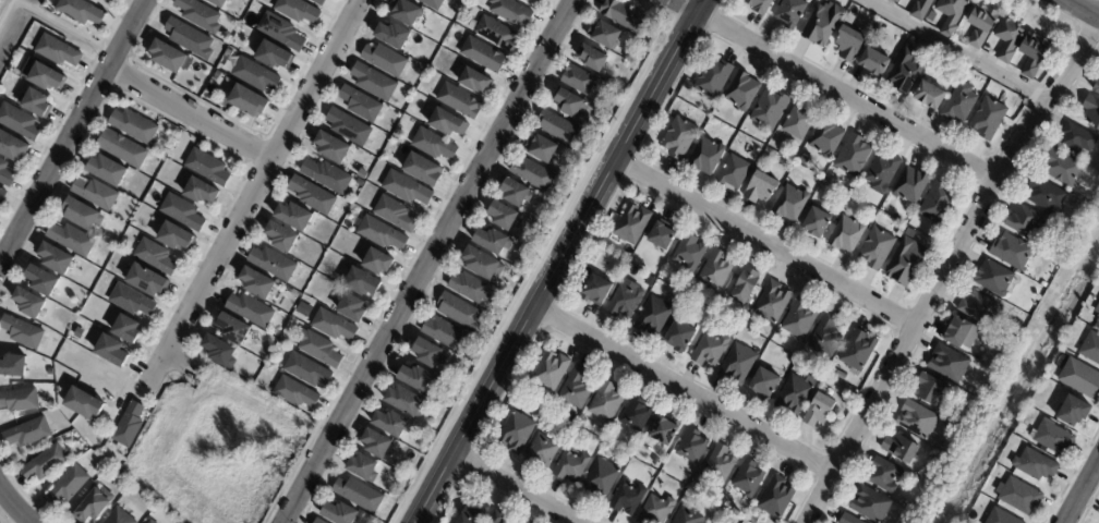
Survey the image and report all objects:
building: (111, 0)
building: (538, 0)
building: (823, 0)
building: (319, 1)
building: (895, 1)
building: (217, 2)
building: (434, 3)
road: (685, 7)
building: (759, 7)
building: (298, 10)
building: (920, 10)
building: (81, 11)
building: (408, 11)
building: (510, 11)
road: (1078, 11)
building: (790, 13)
building: (198, 14)
building: (621, 15)
building: (951, 15)
building: (849, 19)
building: (823, 24)
building: (981, 25)
road: (63, 28)
building: (280, 31)
building: (870, 31)
building: (495, 33)
building: (394, 34)
building: (604, 36)
building: (189, 38)
building: (1007, 39)
building: (848, 45)
building: (59, 49)
building: (273, 52)
road: (954, 52)
building: (482, 53)
building: (1032, 53)
building: (168, 56)
building: (383, 58)
building: (592, 58)
building: (873, 64)
building: (906, 72)
building: (43, 74)
building: (253, 74)
building: (219, 77)
building: (577, 78)
building: (713, 78)
building: (474, 80)
building: (371, 82)
building: (1096, 87)
building: (741, 92)
building: (928, 96)
road: (846, 97)
building: (459, 99)
building: (247, 101)
building: (33, 102)
building: (360, 104)
building: (959, 104)
building: (569, 106)
building: (769, 109)
building: (1091, 112)
road: (191, 115)
building: (988, 119)
building: (20, 120)
building: (445, 120)
building: (798, 123)
building: (138, 126)
building: (347, 126)
building: (557, 129)
road: (72, 131)
building: (678, 138)
building: (825, 139)
building: (1076, 139)
building: (433, 143)
building: (12, 145)
building: (331, 146)
building: (126, 149)
building: (541, 150)
building: (706, 157)
building: (802, 157)
building: (853, 158)
building: (768, 160)
building: (208, 167)
building: (1060, 168)
building: (423, 169)
building: (113, 171)
building: (733, 172)
building: (7, 173)
building: (882, 173)
building: (532, 174)
building: (326, 175)
road: (259, 186)
building: (910, 186)
building: (404, 187)
building: (761, 188)
building: (201, 191)
building: (2, 194)
building: (100, 194)
building: (515, 194)
building: (1044, 194)
building: (312, 195)
building: (938, 203)
building: (789, 204)
building: (1088, 207)
building: (182, 212)
building: (395, 214)
building: (294, 215)
building: (87, 216)
building: (503, 217)
building: (1025, 222)
building: (630, 224)
building: (814, 224)
building: (901, 229)
building: (381, 232)
building: (176, 235)
building: (846, 235)
building: (280, 236)
building: (660, 236)
building: (76, 240)
building: (491, 242)
road: (764, 243)
building: (877, 250)
building: (1011, 252)
building: (689, 254)
building: (155, 257)
building: (60, 258)
building: (377, 260)
road: (558, 260)
road: (428, 261)
building: (905, 263)
building: (274, 264)
building: (481, 265)
building: (600, 267)
road: (947, 267)
building: (619, 269)
building: (715, 271)
building: (617, 276)
building: (146, 279)
building: (993, 279)
building: (46, 280)
building: (361, 281)
building: (256, 282)
building: (652, 282)
building: (1043, 284)
building: (744, 287)
building: (469, 288)
building: (596, 291)
building: (130, 300)
building: (33, 303)
building: (625, 303)
building: (771, 303)
building: (351, 308)
building: (249, 311)
building: (979, 311)
building: (458, 312)
building: (653, 318)
building: (799, 319)
building: (1098, 319)
building: (330, 326)
building: (232, 328)
building: (125, 329)
building: (26, 332)
building: (77, 332)
building: (443, 333)
building: (962, 335)
building: (1006, 335)
building: (680, 337)
building: (825, 337)
building: (318, 348)
building: (1090, 349)
building: (111, 351)
building: (218, 351)
building: (709, 351)
building: (857, 352)
building: (427, 354)
building: (947, 364)
building: (737, 365)
building: (798, 365)
building: (19, 368)
building: (305, 372)
building: (548, 372)
building: (833, 374)
building: (840, 377)
building: (416, 378)
building: (1080, 380)
building: (764, 384)
building: (575, 389)
building: (929, 390)
building: (294, 391)
road: (683, 392)
building: (795, 396)
building: (22, 401)
building: (83, 402)
building: (605, 402)
building: (404, 403)
building: (820, 411)
building: (1073, 413)
building: (635, 415)
building: (916, 421)
building: (947, 423)
building: (391, 425)
building: (130, 426)
building: (1022, 428)
building: (663, 433)
building: (32, 434)
building: (515, 434)
building: (1053, 439)
building: (377, 446)
building: (691, 448)
building: (901, 449)
building: (541, 452)
building: (49, 464)
building: (718, 465)
building: (1035, 466)
building: (571, 467)
building: (363, 470)
building: (882, 476)
building: (748, 479)
building: (600, 482)
road: (516, 486)
building: (72, 487)
road: (1080, 490)
building: (357, 496)
building: (1019, 497)
building: (776, 498)
building: (626, 499)
building: (869, 506)
building: (96, 507)
road: (14, 508)
building: (655, 511)
building: (735, 512)
building: (338, 513)
building: (473, 514)
building: (686, 516)
park: (4, 518)
building: (122, 518)
building: (1000, 518)
building: (497, 519)
building: (756, 520)
building: (847, 520)
building: (317, 521)
building: (150, 522)
building: (155, 522)

